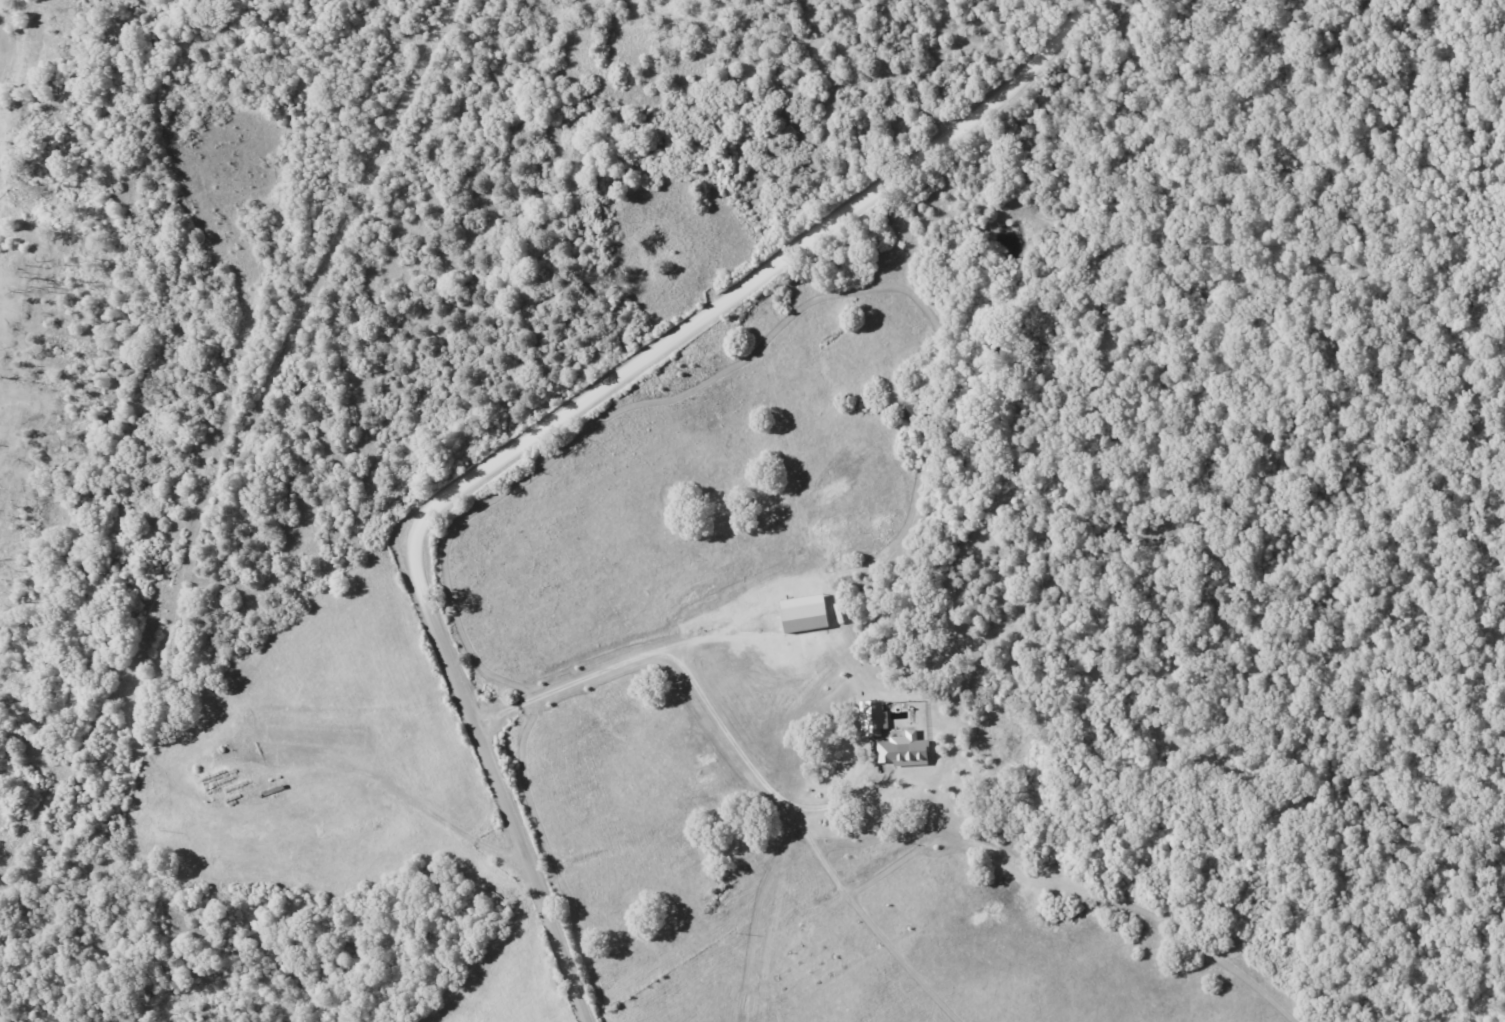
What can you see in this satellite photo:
road: (558, 428)
road: (699, 691)
building: (873, 719)
building: (902, 752)

